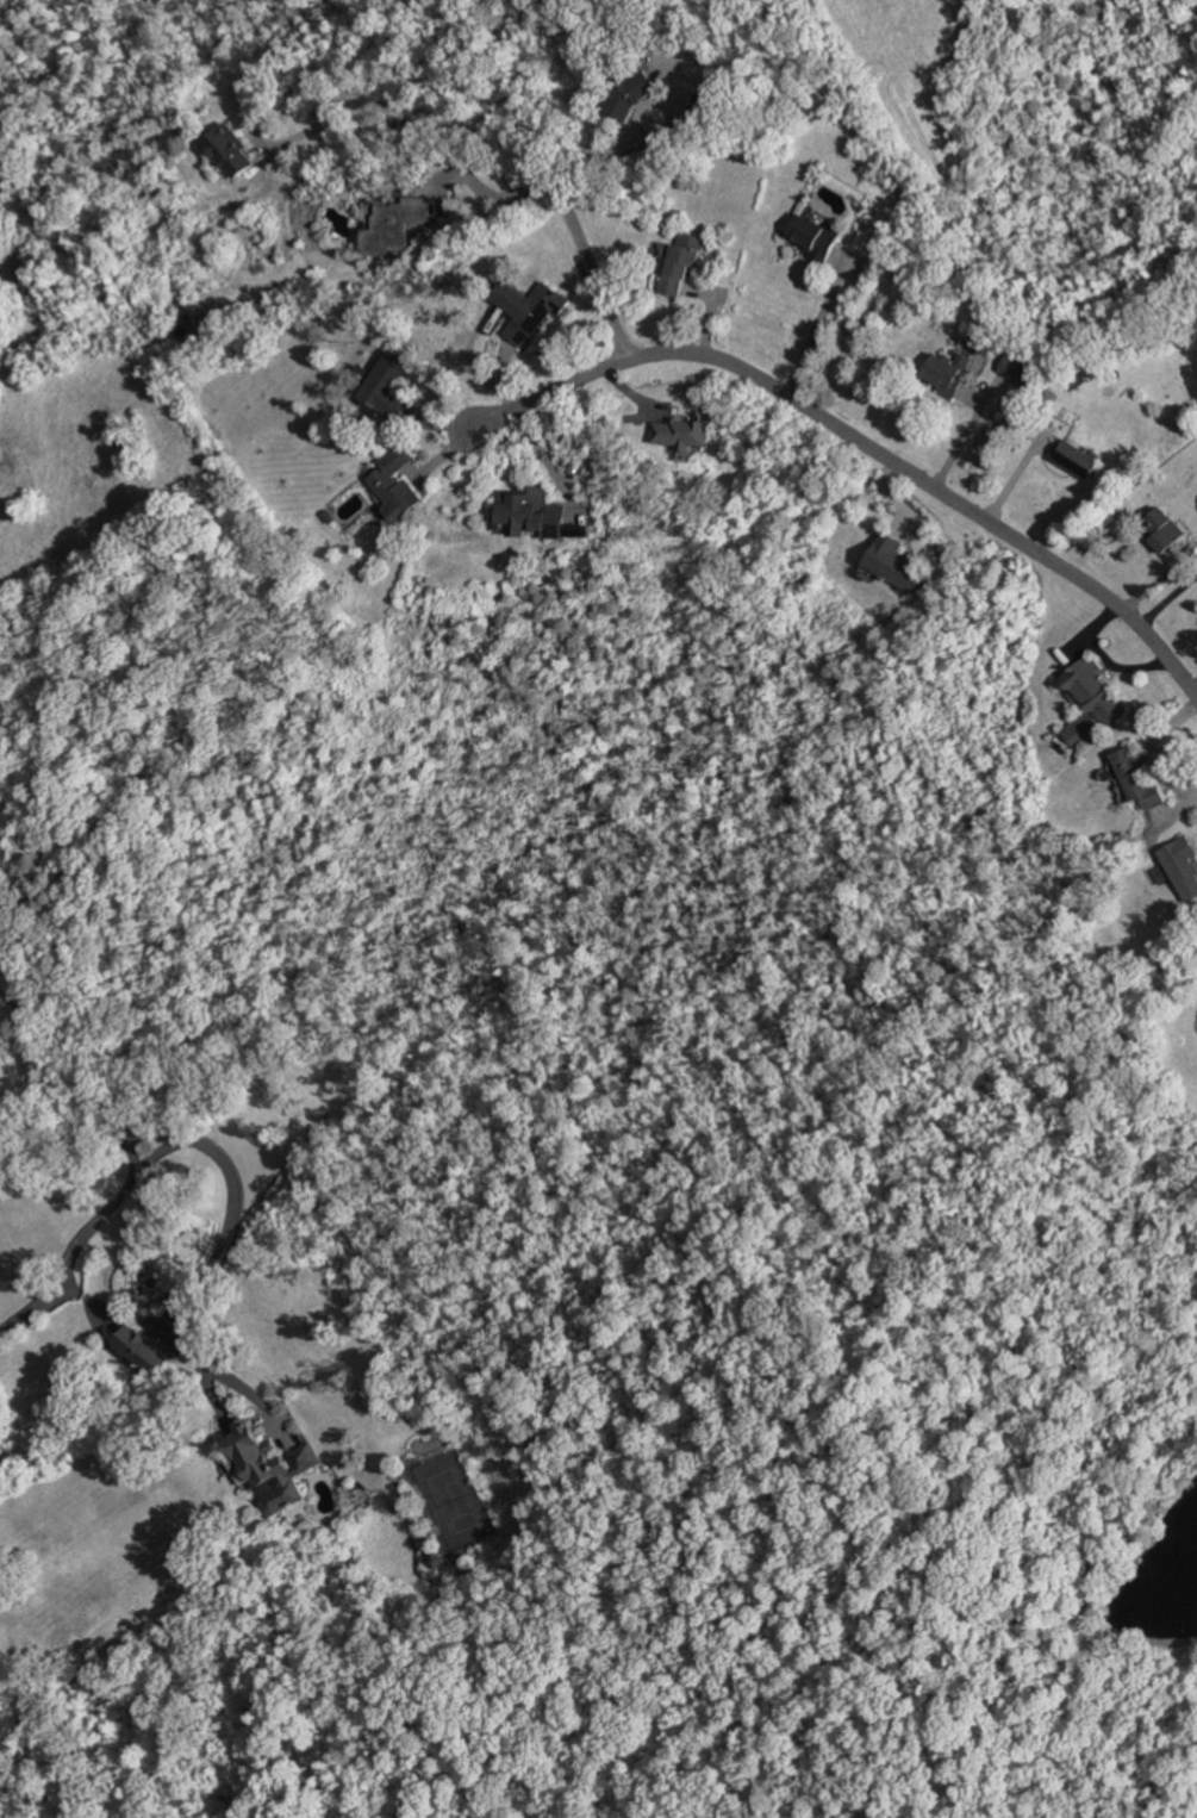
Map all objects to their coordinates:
building: (631, 93)
road: (500, 143)
road: (596, 149)
building: (230, 151)
road: (488, 194)
building: (391, 224)
building: (813, 237)
building: (681, 262)
building: (529, 310)
road: (816, 326)
building: (949, 374)
building: (1014, 378)
building: (386, 386)
building: (684, 434)
road: (861, 441)
building: (1079, 457)
road: (1012, 477)
building: (395, 485)
building: (529, 513)
building: (1162, 529)
building: (892, 561)
road: (1166, 598)
road: (1099, 659)
road: (1193, 687)
building: (1089, 703)
road: (1153, 747)
building: (1134, 776)
building: (1182, 866)
road: (38, 1056)
road: (154, 1126)
building: (142, 1350)
building: (269, 1467)

